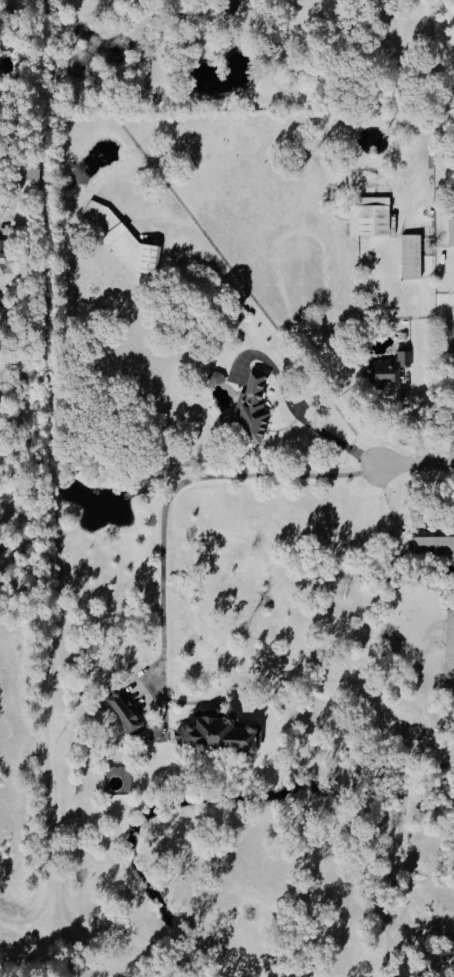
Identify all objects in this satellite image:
building: (30, 179)
building: (372, 216)
building: (452, 231)
building: (413, 256)
building: (7, 261)
building: (6, 315)
building: (391, 368)
building: (216, 378)
building: (255, 409)
road: (453, 413)
road: (303, 416)
road: (416, 469)
road: (193, 478)
building: (435, 546)
building: (450, 634)
building: (125, 711)
building: (221, 733)

